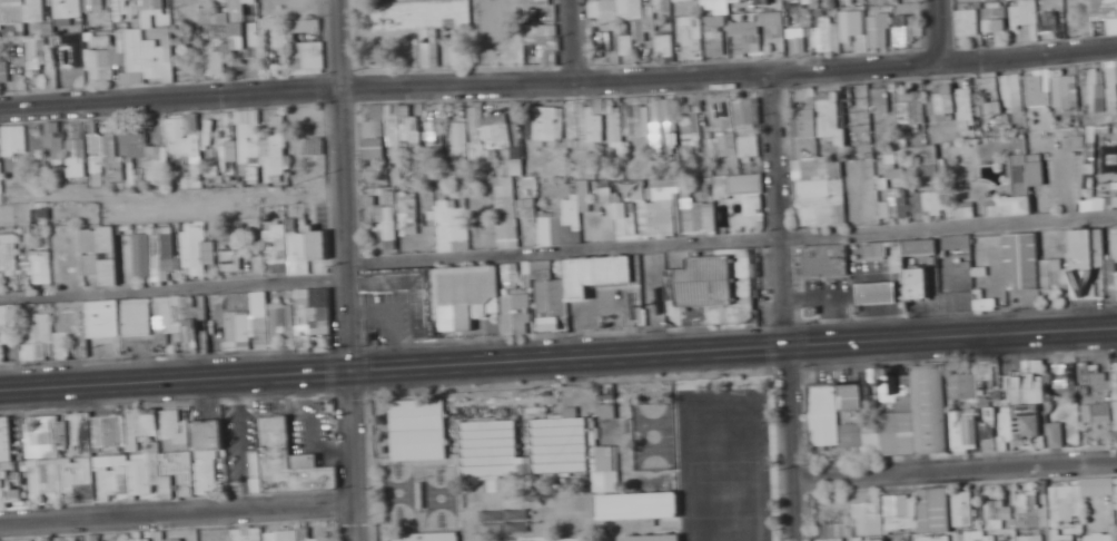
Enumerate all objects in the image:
road: (574, 39)
road: (346, 270)
gas station: (877, 295)

